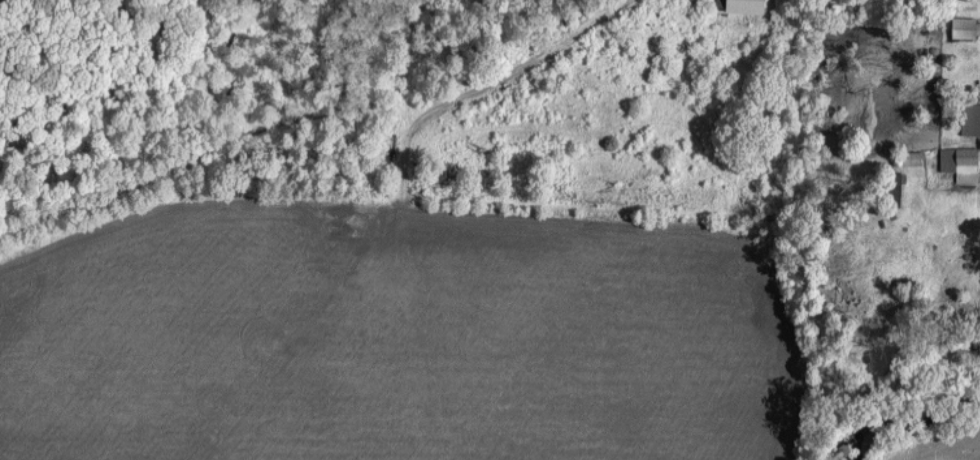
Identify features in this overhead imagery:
building: (746, 6)
building: (966, 26)
building: (972, 117)
building: (962, 162)

